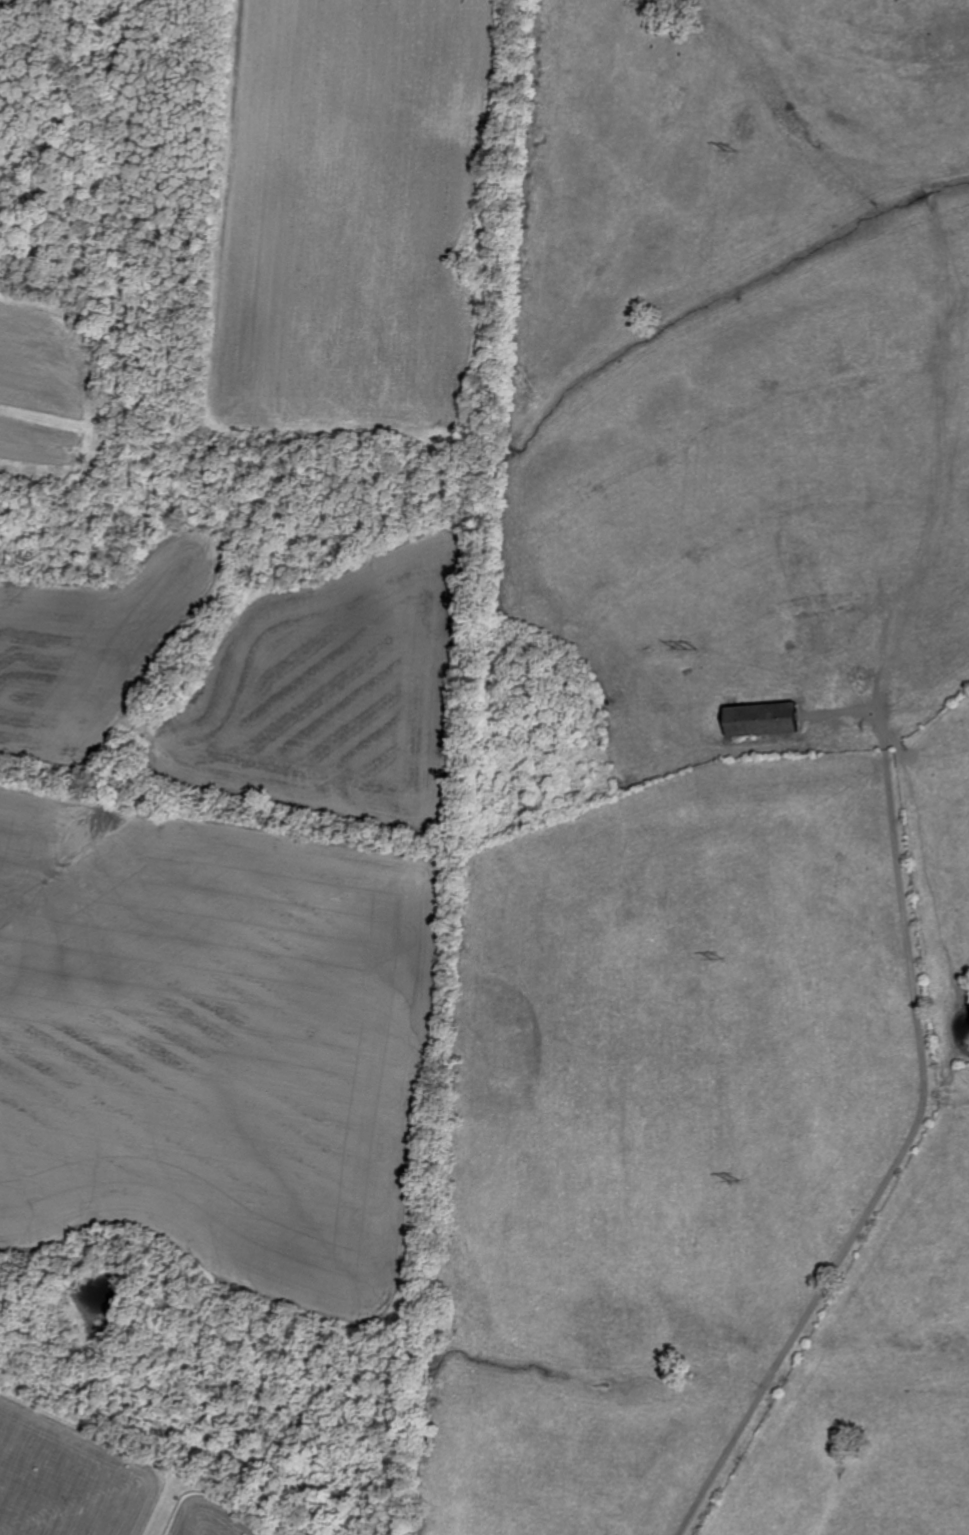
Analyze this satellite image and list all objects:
building: (753, 720)
road: (921, 1111)

